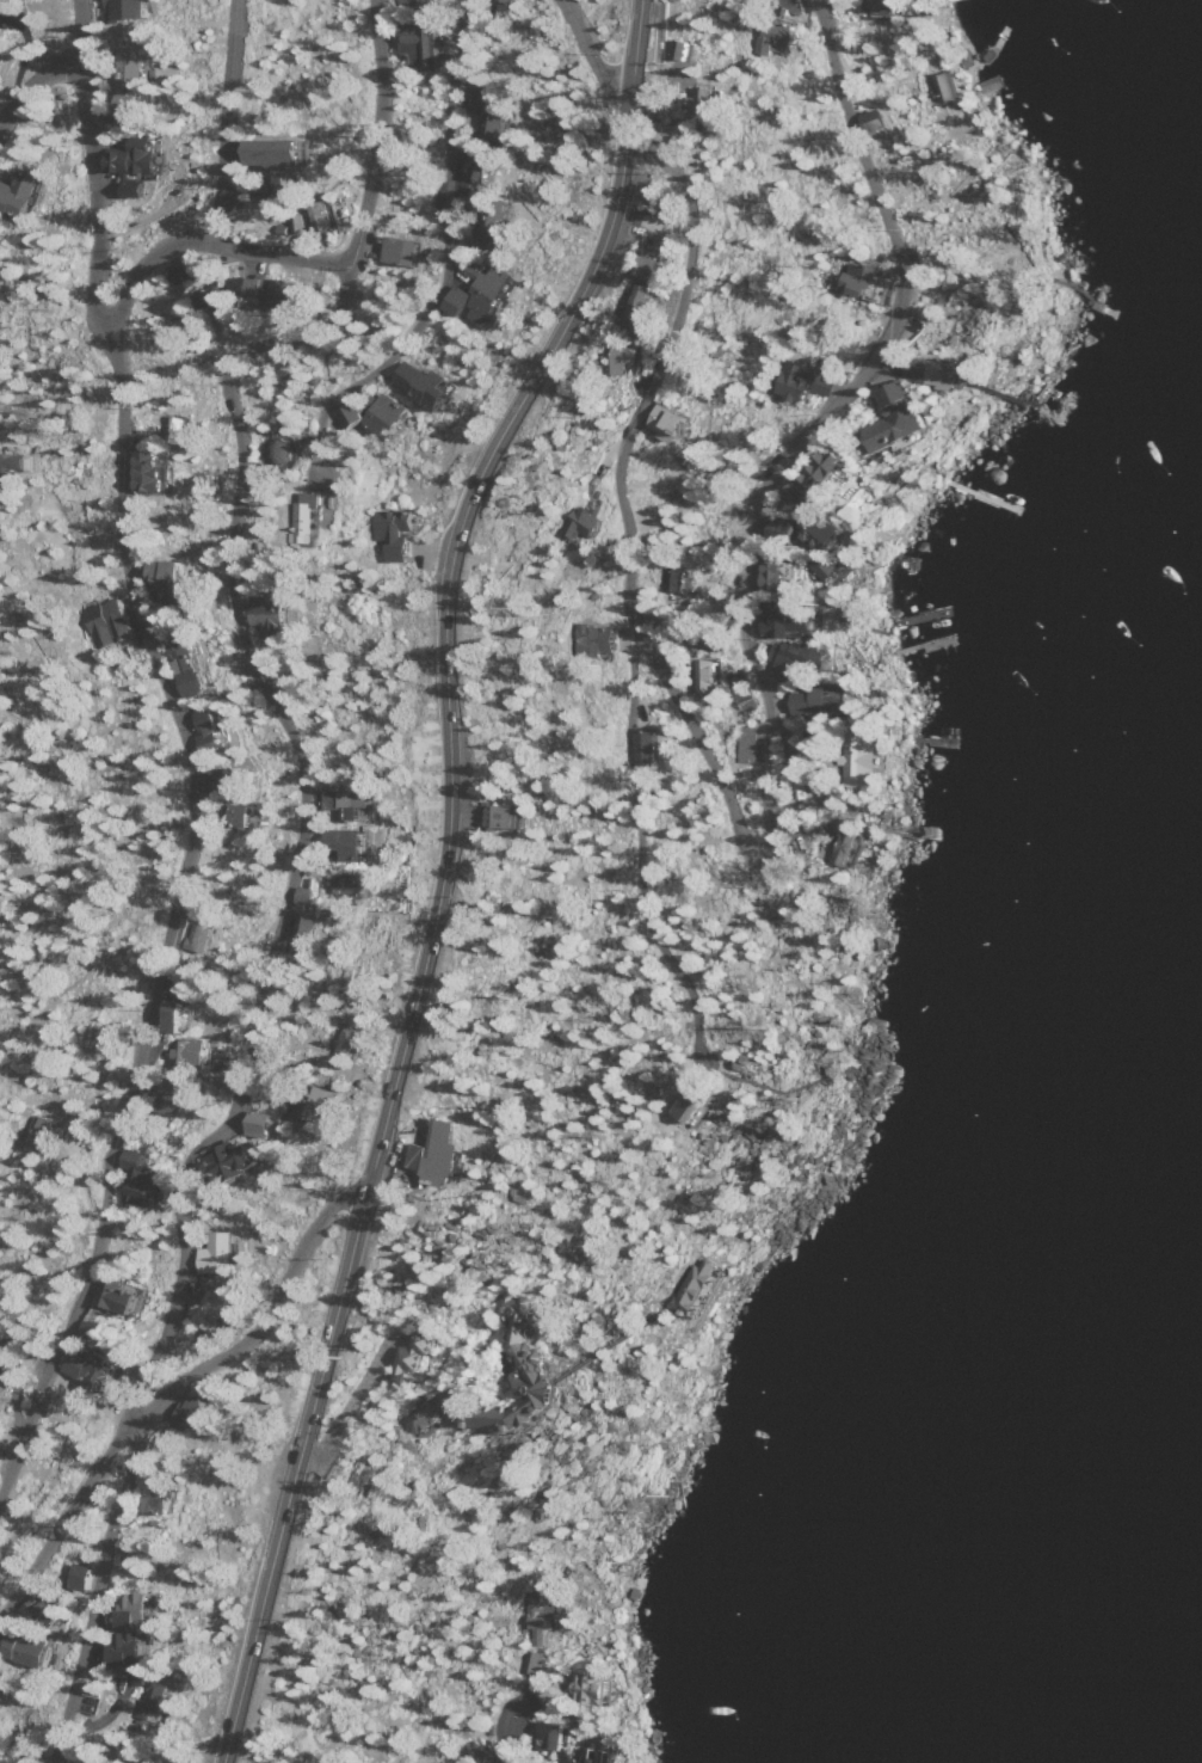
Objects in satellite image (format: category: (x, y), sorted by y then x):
building: (503, 1)
building: (414, 2)
building: (127, 6)
building: (782, 35)
building: (420, 37)
pier: (991, 45)
building: (684, 48)
road: (591, 53)
building: (130, 79)
road: (36, 87)
building: (487, 109)
road: (229, 117)
building: (277, 149)
building: (140, 155)
building: (483, 164)
building: (275, 191)
building: (25, 193)
building: (487, 209)
building: (323, 220)
building: (297, 223)
road: (202, 236)
building: (401, 240)
road: (443, 258)
building: (259, 285)
building: (488, 285)
building: (199, 290)
building: (290, 293)
building: (642, 293)
pier: (1097, 302)
building: (630, 357)
building: (803, 382)
building: (427, 383)
pier: (1031, 403)
building: (381, 416)
building: (677, 422)
building: (175, 424)
building: (14, 463)
building: (161, 471)
pier: (980, 494)
building: (590, 522)
building: (399, 533)
building: (775, 575)
building: (671, 578)
building: (173, 579)
building: (278, 614)
pier: (921, 618)
building: (103, 621)
building: (796, 622)
building: (599, 639)
pier: (923, 645)
building: (785, 659)
building: (191, 669)
building: (715, 675)
building: (211, 732)
pier: (929, 742)
road: (196, 755)
building: (240, 780)
road: (777, 791)
building: (353, 803)
building: (247, 815)
building: (510, 816)
road: (625, 827)
pier: (916, 830)
building: (353, 844)
road: (292, 861)
road: (440, 876)
building: (346, 885)
building: (309, 893)
building: (1, 903)
building: (310, 924)
building: (202, 938)
building: (178, 1012)
building: (349, 1042)
building: (189, 1053)
building: (223, 1059)
building: (167, 1098)
building: (321, 1105)
building: (694, 1107)
building: (269, 1124)
building: (446, 1154)
building: (233, 1162)
building: (143, 1180)
building: (222, 1254)
building: (697, 1286)
building: (119, 1296)
building: (211, 1310)
building: (93, 1331)
building: (443, 1359)
building: (412, 1360)
building: (540, 1364)
building: (97, 1369)
building: (5, 1376)
road: (165, 1389)
building: (198, 1414)
building: (165, 1494)
building: (84, 1575)
building: (138, 1611)
building: (53, 1612)
building: (548, 1612)
building: (130, 1650)
building: (33, 1651)
building: (530, 1660)
building: (150, 1695)
building: (559, 1731)
road: (511, 1739)
building: (602, 1755)

